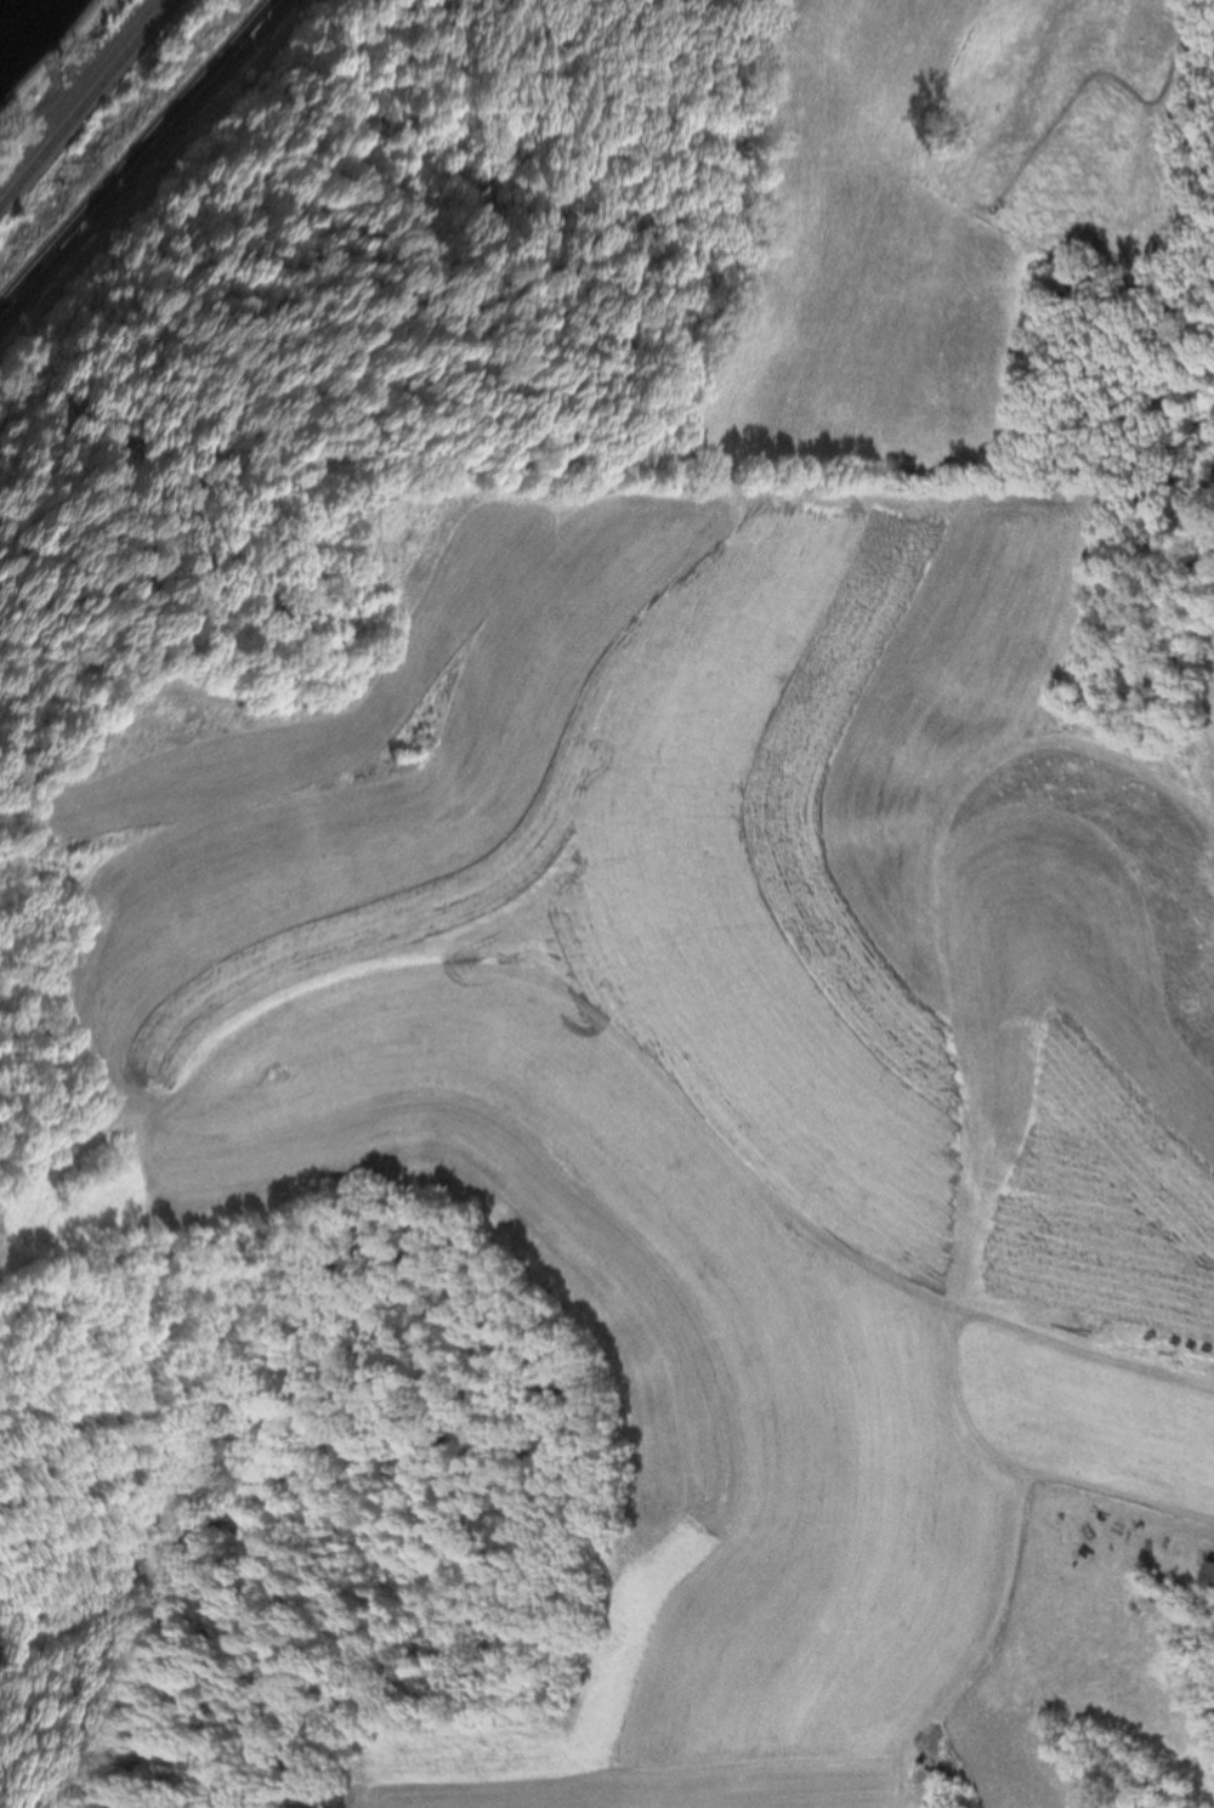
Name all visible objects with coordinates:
railway: (79, 95)
railway: (87, 104)
road: (141, 161)

